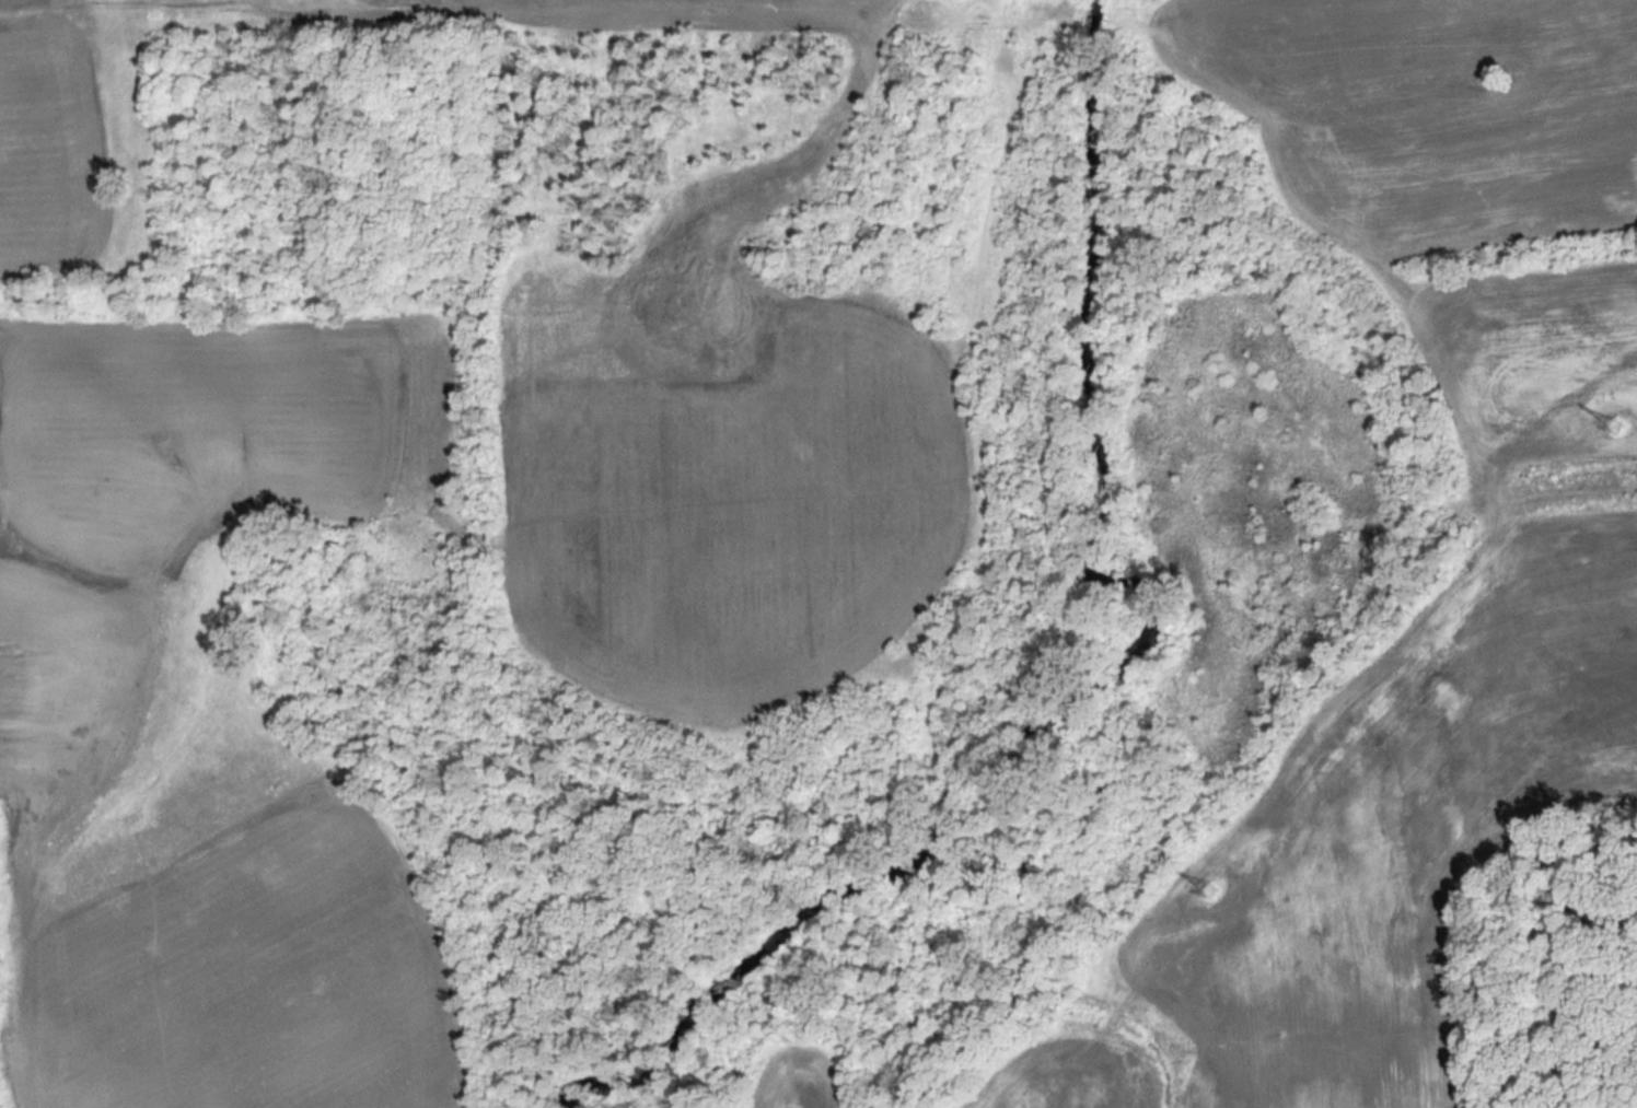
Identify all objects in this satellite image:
crop: (54, 142)
crop: (1455, 178)
crop: (1522, 253)
crop: (1522, 253)
crop: (1522, 253)
power tower: (1616, 430)
crop: (717, 486)
crop: (70, 719)
crop: (1398, 830)
power tower: (1210, 893)
crop: (1067, 1077)
crop: (799, 1078)

